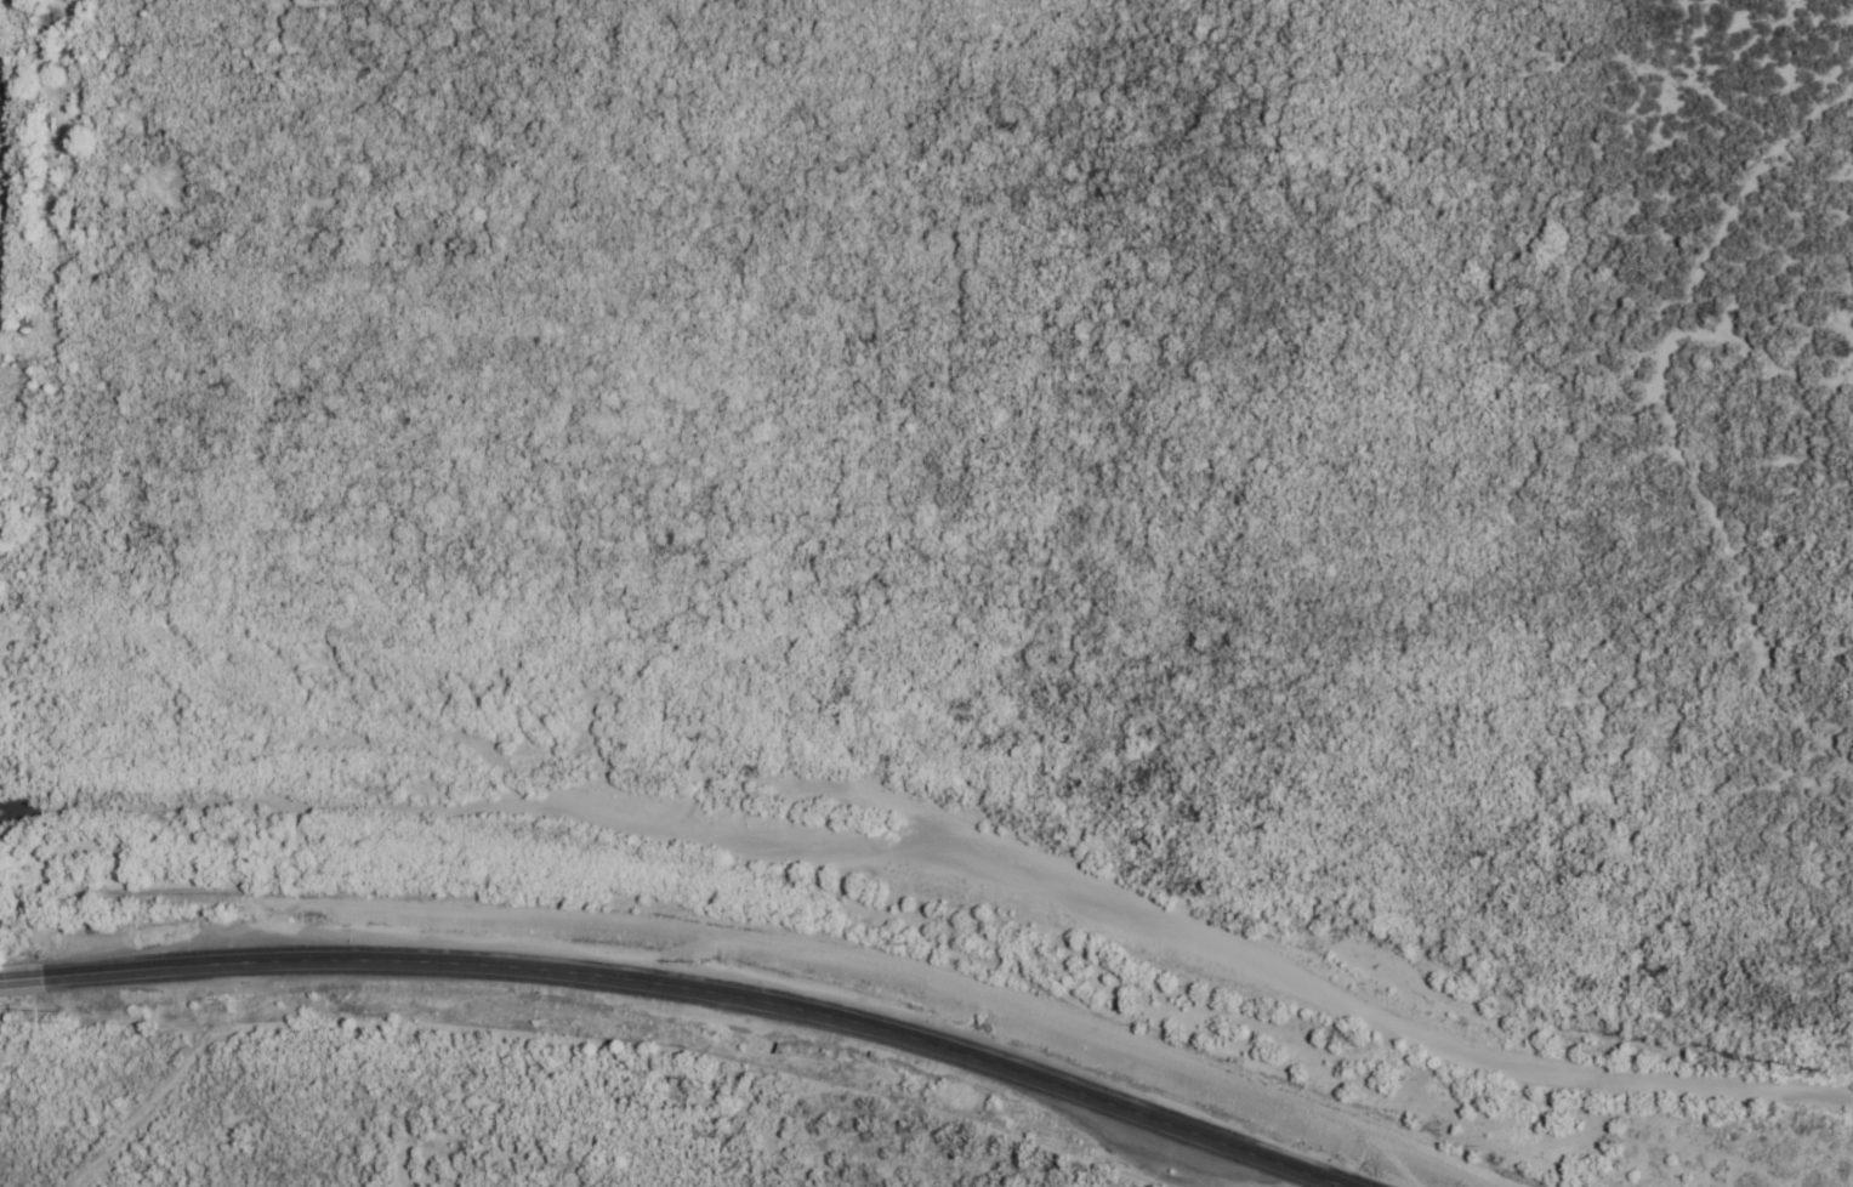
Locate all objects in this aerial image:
road: (289, 959)
road: (30, 981)
road: (930, 1052)

